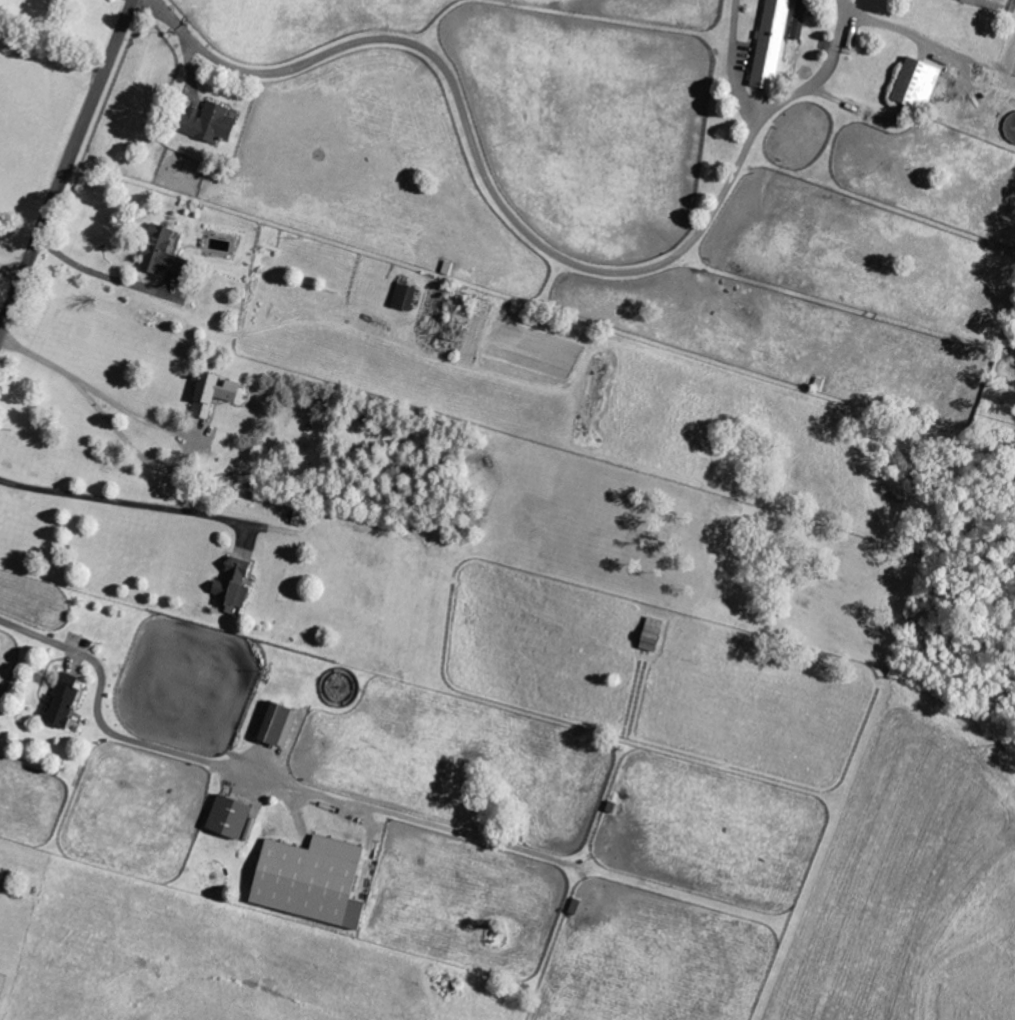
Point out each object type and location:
building: (801, 22)
road: (55, 45)
building: (772, 45)
road: (733, 62)
road: (817, 75)
building: (920, 83)
building: (213, 123)
road: (473, 147)
road: (68, 165)
building: (164, 251)
road: (10, 274)
road: (98, 275)
building: (406, 295)
road: (38, 358)
building: (217, 391)
road: (181, 463)
road: (125, 503)
building: (236, 584)
building: (655, 634)
building: (66, 699)
building: (278, 723)
road: (257, 774)
building: (233, 816)
building: (315, 880)

